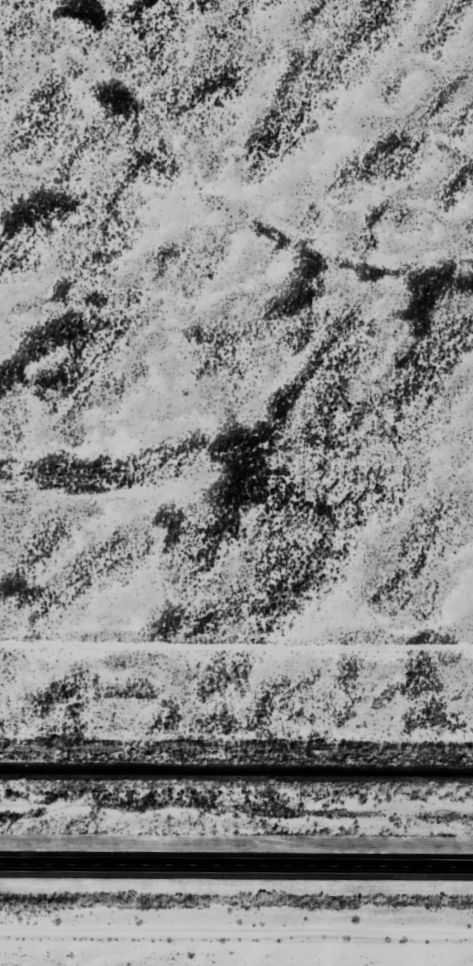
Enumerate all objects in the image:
railway: (236, 772)
road: (236, 862)

